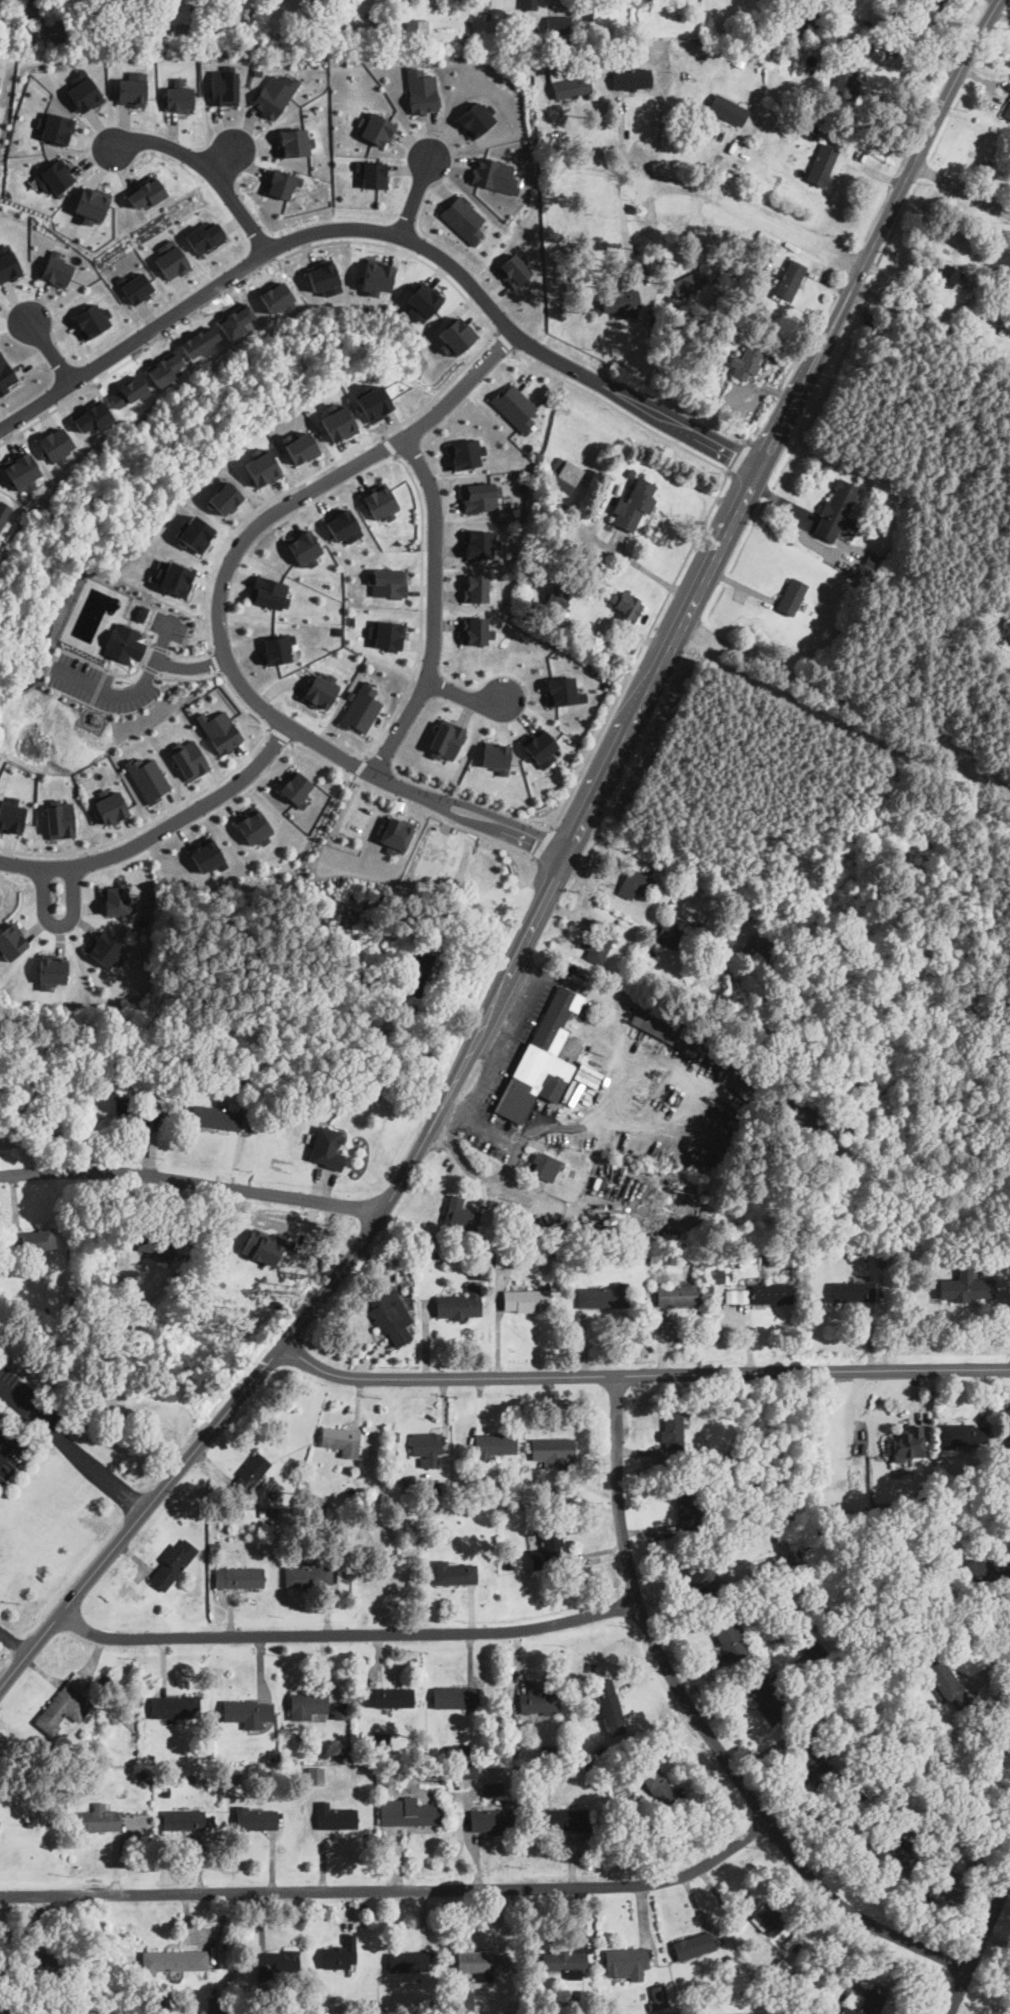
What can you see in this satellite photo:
building: (345, 0)
building: (529, 4)
building: (934, 4)
building: (126, 5)
building: (810, 15)
building: (587, 16)
building: (254, 18)
building: (780, 22)
building: (892, 22)
building: (377, 25)
building: (417, 25)
building: (558, 25)
building: (905, 25)
building: (394, 27)
building: (848, 27)
building: (586, 31)
building: (185, 32)
building: (81, 34)
building: (229, 37)
building: (618, 42)
building: (556, 43)
building: (579, 43)
building: (774, 51)
building: (846, 73)
building: (632, 80)
building: (223, 84)
building: (572, 87)
building: (133, 88)
building: (421, 90)
building: (83, 91)
building: (275, 94)
building: (179, 96)
building: (728, 111)
building: (1007, 111)
building: (474, 119)
building: (56, 127)
building: (374, 128)
building: (293, 141)
road: (589, 151)
road: (224, 160)
building: (996, 160)
building: (822, 165)
road: (210, 170)
building: (372, 173)
building: (494, 174)
building: (55, 176)
building: (282, 183)
road: (961, 187)
building: (144, 192)
road: (415, 197)
building: (91, 204)
road: (746, 211)
building: (463, 218)
road: (388, 230)
building: (205, 235)
building: (171, 259)
building: (8, 263)
building: (56, 268)
building: (513, 268)
road: (436, 270)
building: (948, 275)
building: (322, 276)
building: (376, 276)
building: (789, 279)
building: (693, 282)
building: (135, 286)
building: (421, 301)
building: (621, 301)
building: (750, 305)
building: (597, 310)
building: (92, 320)
road: (931, 322)
building: (1006, 323)
building: (966, 327)
building: (1002, 331)
road: (494, 333)
building: (455, 335)
road: (506, 342)
road: (49, 349)
building: (747, 361)
building: (5, 374)
building: (128, 390)
road: (66, 401)
building: (372, 401)
building: (514, 408)
building: (91, 416)
building: (337, 421)
road: (383, 437)
building: (55, 443)
building: (299, 444)
road: (390, 446)
building: (463, 453)
building: (261, 465)
building: (20, 470)
building: (564, 476)
road: (279, 494)
building: (479, 495)
building: (224, 497)
building: (380, 502)
building: (633, 505)
building: (838, 509)
building: (342, 524)
building: (193, 532)
building: (479, 543)
road: (695, 543)
building: (303, 547)
road: (650, 574)
building: (171, 576)
building: (1008, 576)
building: (388, 581)
building: (475, 587)
building: (269, 591)
building: (791, 595)
building: (556, 598)
building: (626, 604)
road: (434, 608)
road: (692, 608)
road: (422, 611)
building: (141, 612)
road: (219, 624)
building: (475, 630)
building: (1007, 631)
building: (386, 634)
building: (125, 642)
building: (276, 648)
road: (189, 653)
road: (215, 663)
road: (190, 665)
road: (222, 678)
road: (131, 688)
building: (321, 689)
building: (562, 690)
road: (466, 696)
road: (849, 701)
building: (361, 707)
building: (219, 729)
road: (281, 734)
building: (445, 739)
building: (539, 745)
building: (495, 755)
building: (187, 757)
road: (1000, 762)
road: (361, 768)
road: (347, 775)
building: (147, 777)
building: (296, 788)
building: (109, 805)
building: (11, 816)
building: (59, 819)
road: (148, 821)
building: (254, 825)
road: (160, 830)
building: (395, 834)
road: (543, 844)
building: (205, 853)
road: (636, 855)
building: (634, 883)
road: (608, 893)
building: (117, 899)
building: (354, 900)
road: (60, 925)
building: (669, 934)
building: (10, 941)
building: (601, 941)
building: (759, 947)
building: (104, 948)
building: (51, 970)
building: (417, 970)
building: (659, 1029)
road: (637, 1052)
building: (542, 1056)
building: (138, 1109)
building: (217, 1115)
building: (326, 1148)
building: (545, 1167)
road: (507, 1168)
road: (190, 1180)
building: (460, 1215)
building: (38, 1239)
building: (154, 1243)
building: (262, 1246)
building: (506, 1256)
building: (716, 1275)
building: (965, 1286)
building: (853, 1291)
building: (766, 1292)
building: (679, 1295)
building: (736, 1295)
building: (603, 1298)
building: (526, 1300)
building: (460, 1304)
building: (391, 1316)
road: (643, 1373)
building: (672, 1430)
road: (17, 1435)
building: (964, 1435)
building: (1009, 1437)
building: (341, 1439)
building: (908, 1443)
building: (425, 1444)
building: (495, 1444)
road: (72, 1449)
road: (194, 1452)
building: (553, 1452)
building: (250, 1472)
building: (687, 1508)
building: (547, 1550)
building: (172, 1565)
building: (987, 1567)
building: (456, 1572)
building: (700, 1573)
building: (308, 1576)
building: (238, 1577)
road: (350, 1631)
building: (730, 1638)
road: (14, 1641)
building: (811, 1649)
road: (1004, 1652)
building: (947, 1682)
building: (764, 1696)
building: (388, 1697)
building: (454, 1697)
building: (538, 1701)
building: (64, 1705)
building: (307, 1705)
building: (609, 1705)
building: (176, 1707)
building: (340, 1709)
building: (247, 1712)
road: (704, 1725)
building: (812, 1762)
building: (468, 1769)
building: (656, 1784)
building: (0, 1812)
building: (409, 1812)
building: (336, 1817)
building: (99, 1818)
building: (183, 1819)
building: (256, 1819)
building: (492, 1819)
building: (564, 1819)
building: (897, 1852)
building: (946, 1884)
road: (391, 1889)
building: (765, 1915)
road: (978, 1944)
building: (693, 1945)
building: (339, 1953)
building: (178, 1960)
building: (406, 1960)
building: (60, 1961)
building: (563, 1961)
building: (483, 1962)
building: (625, 1963)
building: (277, 1964)
building: (782, 1971)
building: (658, 1995)
building: (464, 1999)
building: (214, 2004)
building: (872, 2004)

